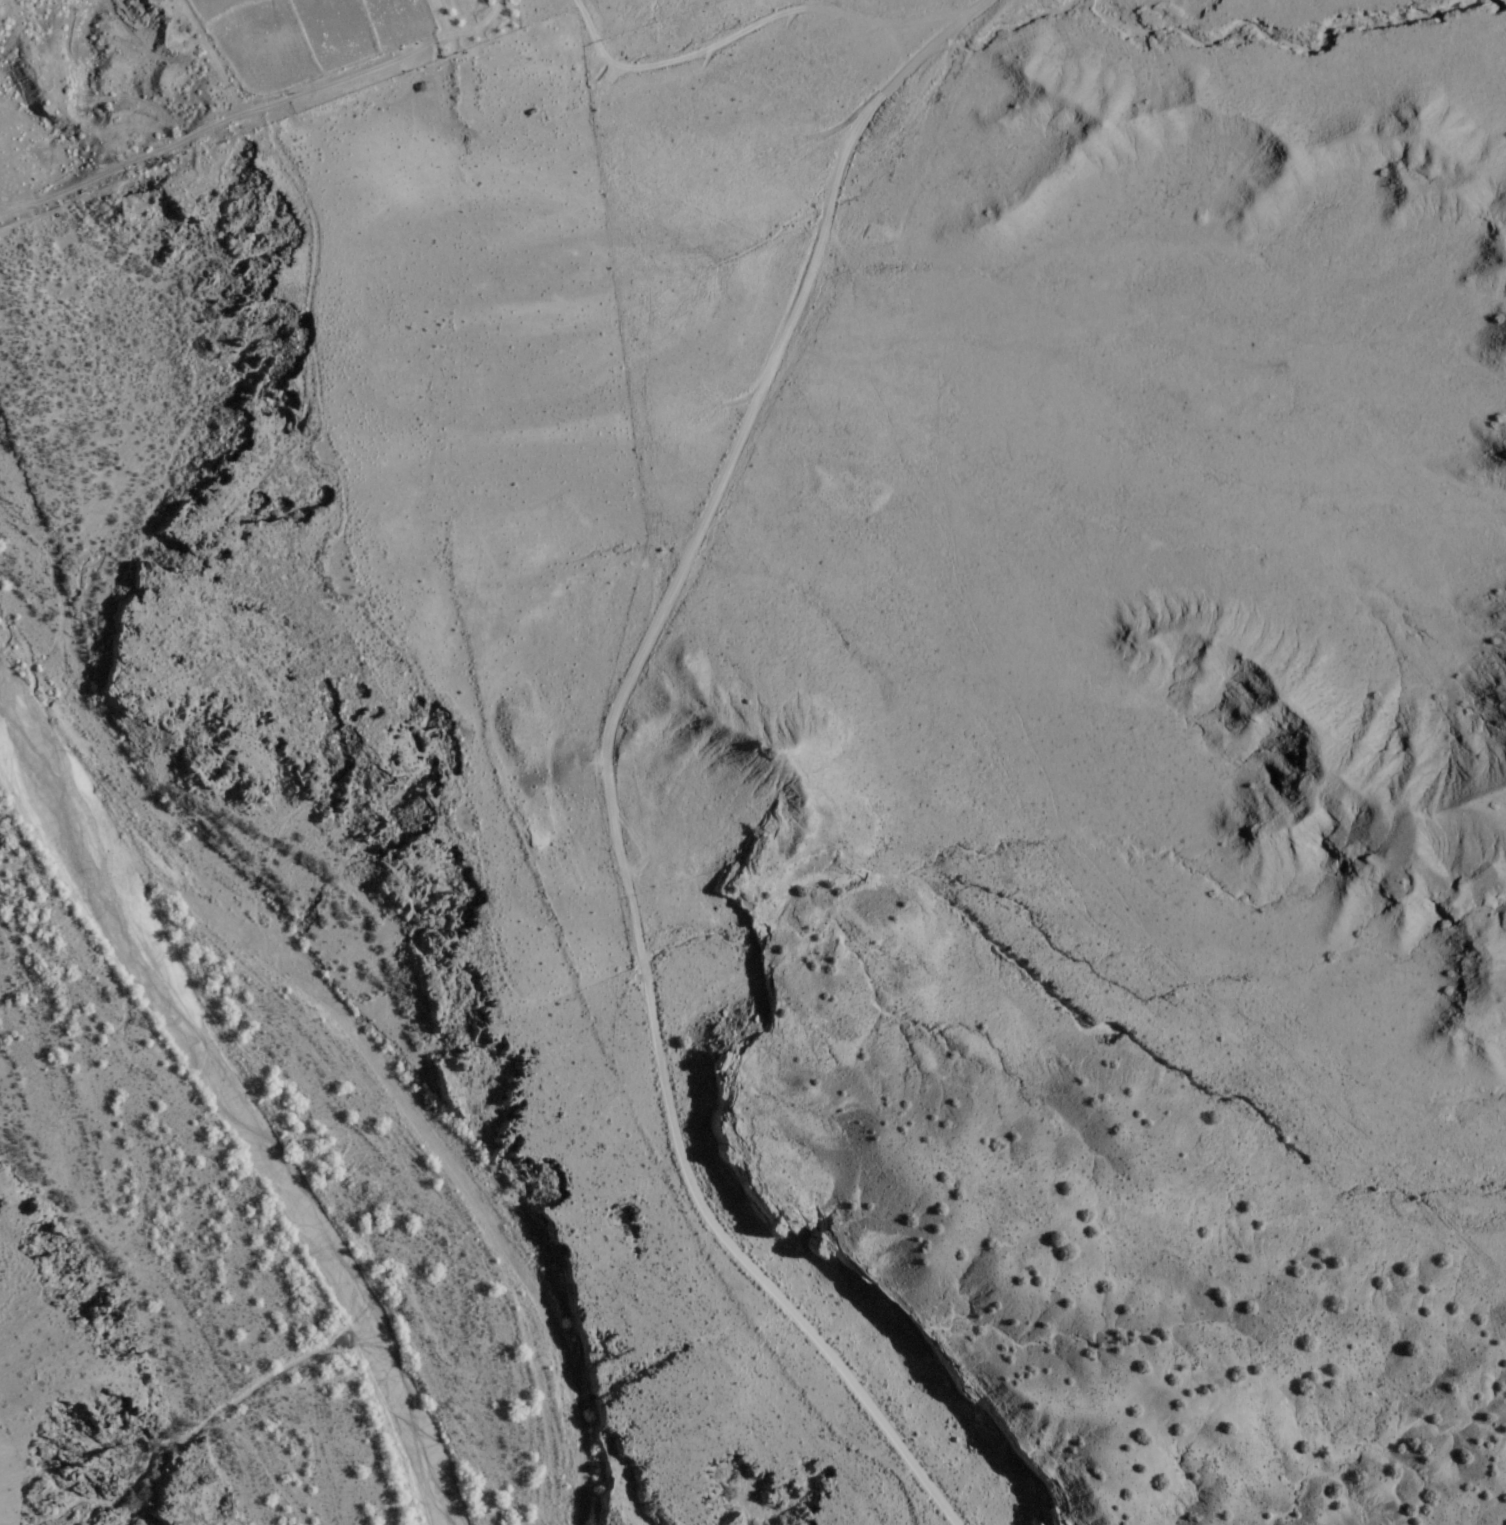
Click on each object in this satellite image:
building: (23, 0)
road: (736, 424)
river: (242, 1104)
road: (729, 1244)

